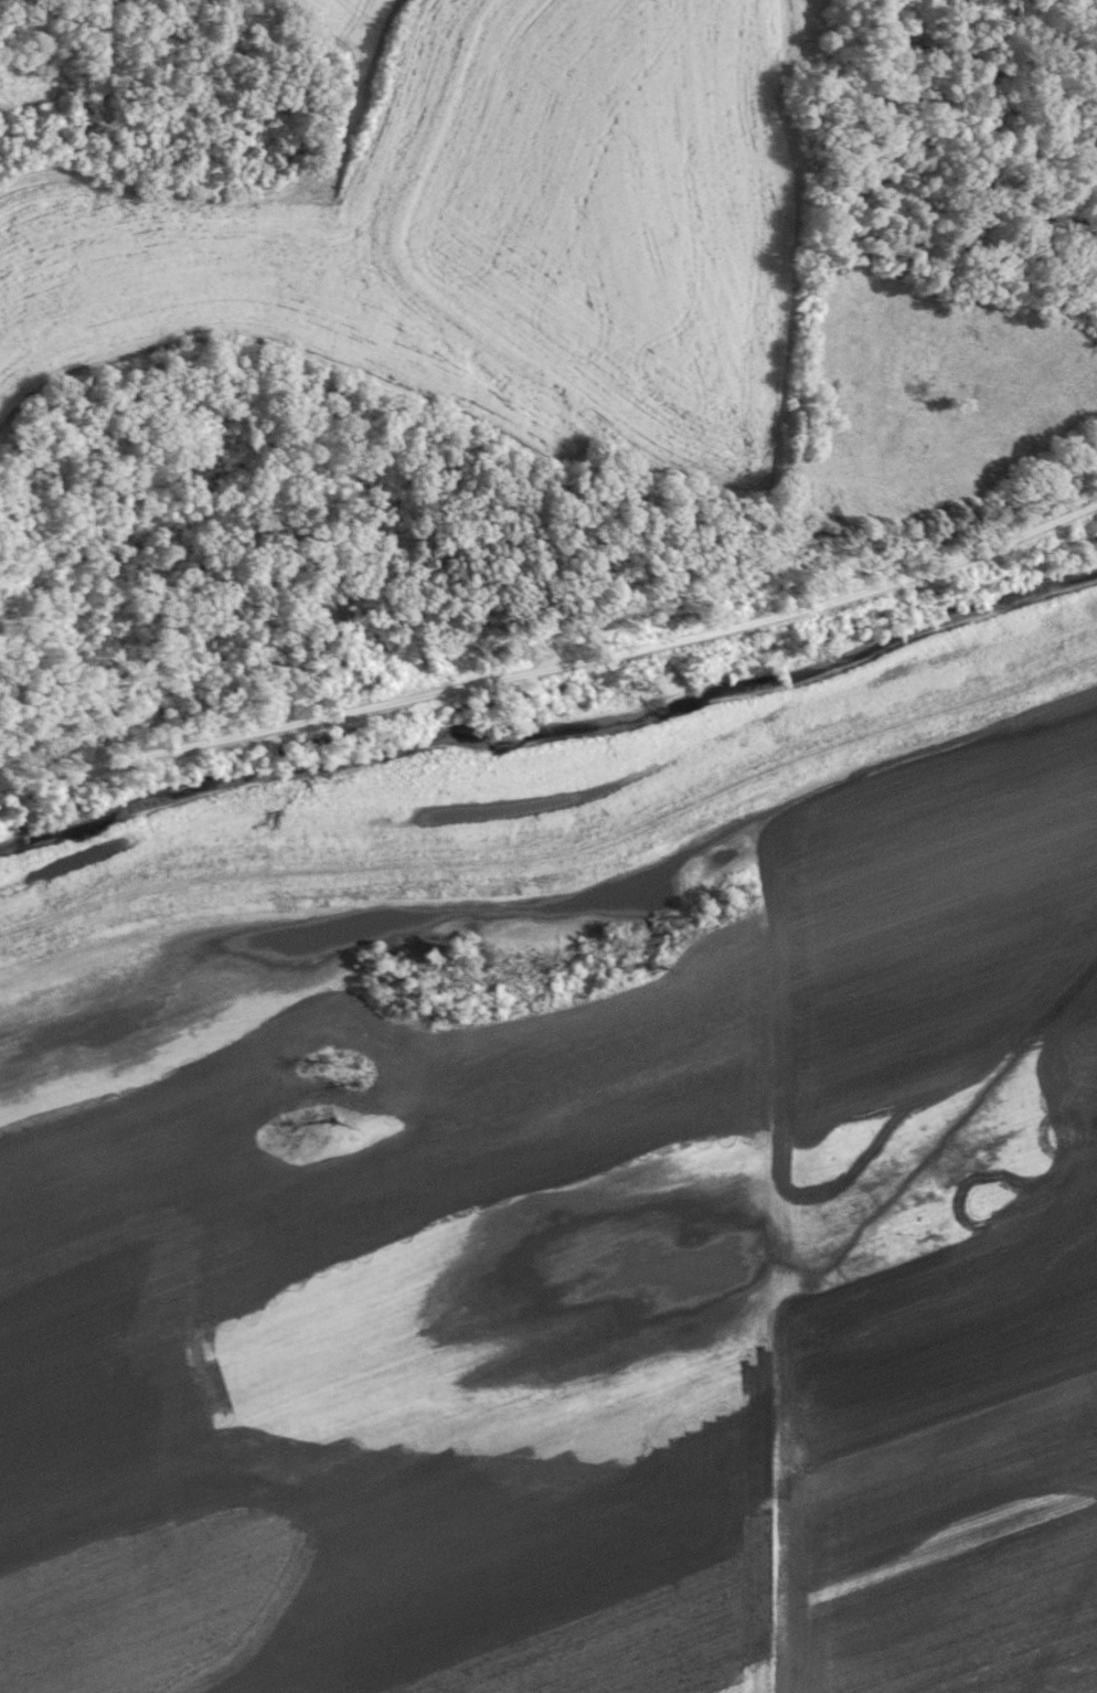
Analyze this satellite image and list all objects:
road: (554, 666)

